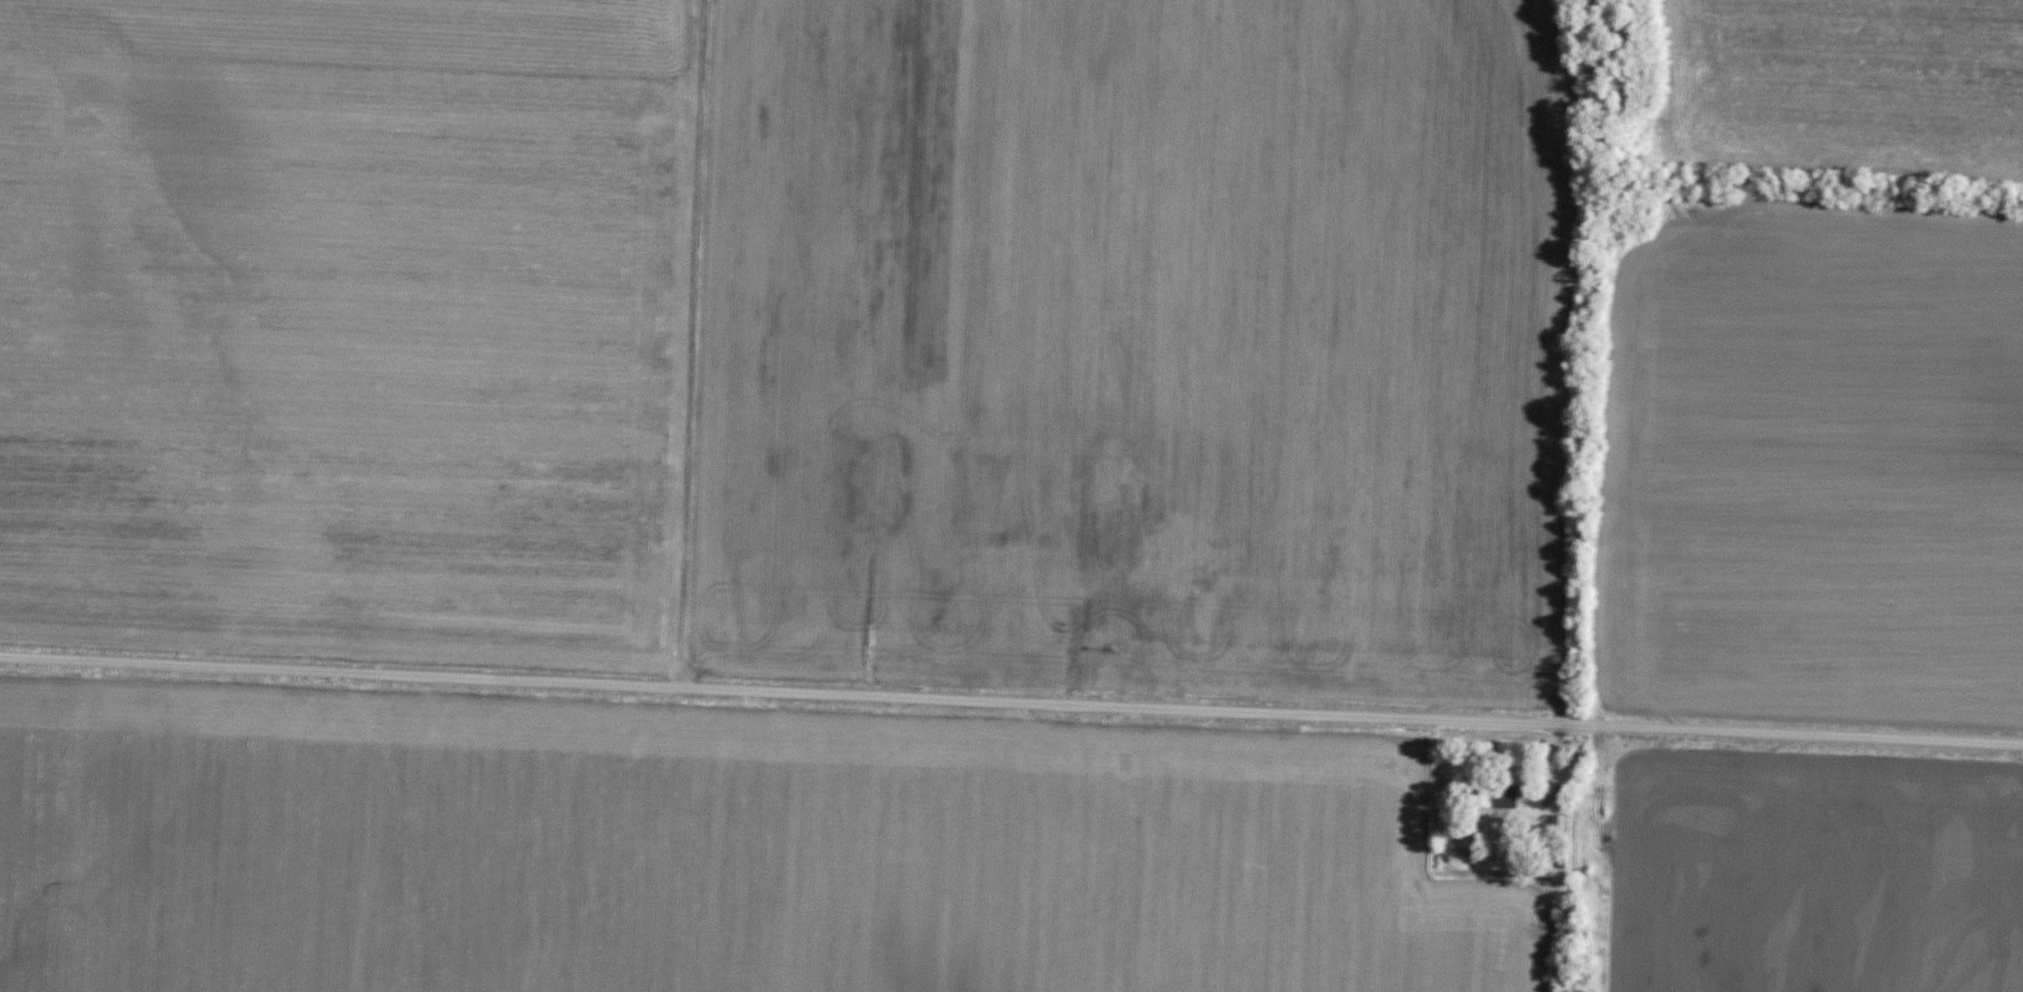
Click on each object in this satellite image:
road: (1011, 704)
building: (1498, 797)
road: (1556, 801)
building: (1558, 828)

